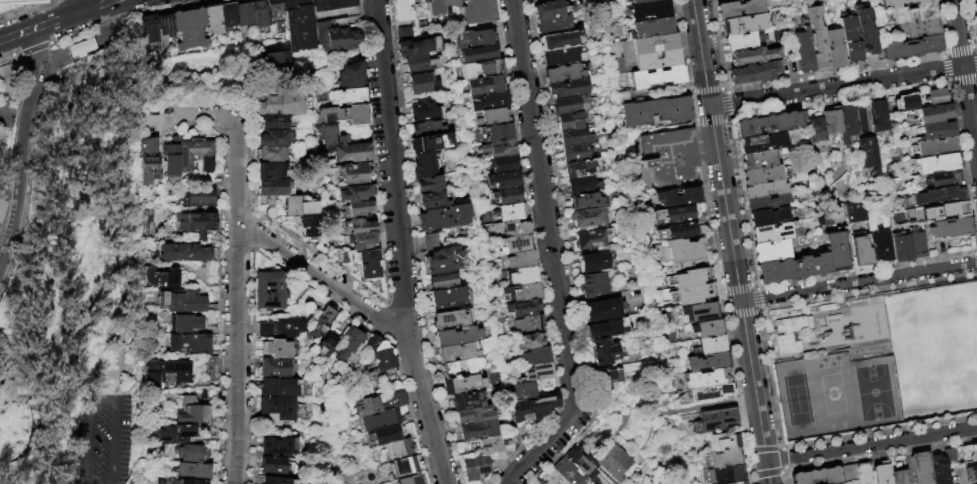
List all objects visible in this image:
building: (16, 1)
building: (424, 1)
building: (541, 1)
building: (638, 1)
parking lot: (723, 1)
building: (452, 3)
building: (902, 3)
road: (77, 6)
road: (22, 7)
building: (436, 7)
building: (738, 8)
building: (550, 9)
building: (402, 10)
building: (649, 10)
building: (478, 12)
building: (276, 13)
building: (914, 14)
road: (128, 15)
building: (246, 15)
building: (262, 15)
building: (230, 16)
building: (975, 17)
road: (56, 19)
building: (308, 19)
building: (214, 20)
road: (970, 23)
building: (743, 24)
building: (553, 25)
road: (939, 25)
building: (167, 27)
building: (652, 28)
building: (919, 28)
building: (151, 29)
building: (191, 29)
road: (957, 32)
building: (864, 33)
building: (404, 34)
building: (338, 37)
building: (849, 38)
building: (476, 39)
building: (817, 39)
building: (558, 40)
building: (745, 41)
building: (976, 42)
building: (655, 44)
road: (974, 46)
building: (81, 47)
road: (976, 47)
building: (418, 48)
building: (834, 48)
building: (911, 48)
road: (34, 49)
road: (959, 49)
building: (802, 51)
road: (943, 53)
building: (480, 54)
road: (976, 54)
building: (562, 56)
building: (751, 56)
road: (10, 58)
building: (615, 59)
building: (658, 60)
building: (276, 64)
building: (420, 64)
road: (969, 64)
road: (945, 68)
building: (484, 69)
building: (564, 73)
building: (751, 74)
building: (353, 75)
building: (658, 78)
road: (976, 78)
road: (787, 79)
road: (963, 81)
road: (948, 83)
building: (423, 84)
building: (487, 86)
road: (835, 86)
building: (568, 89)
road: (705, 90)
road: (725, 92)
building: (349, 96)
building: (938, 96)
building: (621, 98)
road: (838, 98)
building: (490, 101)
road: (727, 103)
building: (904, 103)
building: (282, 104)
building: (569, 105)
building: (14, 111)
building: (426, 111)
building: (655, 111)
road: (969, 111)
building: (934, 113)
building: (354, 115)
building: (878, 115)
building: (803, 117)
building: (13, 118)
building: (495, 118)
road: (188, 119)
building: (571, 120)
road: (711, 120)
building: (327, 121)
building: (279, 122)
building: (848, 122)
building: (832, 123)
building: (766, 124)
building: (428, 129)
building: (817, 129)
building: (936, 130)
building: (499, 133)
building: (576, 136)
building: (276, 138)
building: (337, 140)
building: (761, 142)
building: (431, 143)
building: (148, 146)
building: (935, 147)
road: (22, 148)
building: (500, 148)
building: (351, 151)
building: (577, 153)
building: (195, 154)
building: (271, 154)
building: (869, 154)
building: (665, 157)
building: (149, 159)
building: (758, 159)
building: (171, 160)
building: (937, 162)
building: (426, 164)
building: (505, 164)
building: (582, 168)
building: (271, 171)
building: (150, 174)
building: (357, 174)
building: (762, 174)
building: (944, 179)
building: (507, 181)
building: (430, 185)
building: (583, 185)
building: (274, 187)
building: (3, 189)
building: (765, 189)
building: (358, 193)
building: (937, 196)
building: (199, 197)
building: (509, 197)
building: (679, 197)
building: (436, 200)
building: (265, 201)
building: (587, 201)
road: (741, 201)
building: (769, 202)
building: (299, 207)
building: (358, 209)
building: (3, 210)
building: (939, 211)
building: (511, 213)
building: (674, 214)
building: (589, 217)
building: (768, 217)
building: (443, 218)
building: (198, 222)
building: (310, 222)
building: (361, 225)
building: (951, 227)
building: (518, 229)
building: (676, 231)
building: (772, 232)
building: (311, 235)
road: (711, 237)
building: (592, 239)
building: (365, 240)
building: (430, 242)
road: (730, 242)
building: (916, 243)
road: (399, 244)
road: (413, 244)
building: (519, 244)
building: (880, 245)
building: (900, 247)
road: (120, 250)
building: (770, 250)
building: (862, 250)
building: (678, 251)
building: (835, 251)
building: (187, 253)
building: (445, 256)
road: (551, 256)
building: (343, 257)
road: (950, 257)
building: (523, 261)
road: (975, 261)
building: (594, 262)
building: (370, 263)
building: (791, 268)
building: (442, 269)
building: (525, 276)
building: (160, 278)
road: (322, 278)
building: (443, 281)
road: (858, 282)
road: (753, 284)
building: (594, 285)
building: (684, 287)
road: (737, 287)
park: (76, 289)
building: (268, 291)
road: (722, 291)
building: (528, 292)
road: (236, 298)
road: (756, 298)
building: (449, 299)
building: (182, 301)
road: (759, 308)
building: (528, 309)
building: (605, 310)
building: (699, 311)
road: (742, 312)
road: (726, 315)
building: (453, 319)
building: (321, 321)
road: (70, 323)
building: (186, 323)
building: (532, 324)
building: (281, 328)
building: (708, 328)
building: (608, 329)
building: (791, 335)
building: (456, 336)
building: (533, 341)
building: (374, 342)
building: (191, 343)
building: (327, 344)
building: (350, 345)
building: (709, 345)
building: (278, 348)
building: (458, 352)
building: (604, 352)
building: (539, 357)
building: (386, 360)
park: (875, 360)
building: (708, 361)
building: (211, 368)
building: (275, 368)
building: (462, 368)
road: (765, 368)
building: (167, 372)
building: (540, 373)
building: (705, 378)
building: (608, 379)
building: (462, 384)
building: (271, 387)
building: (530, 389)
building: (709, 392)
park: (872, 392)
park: (795, 399)
road: (105, 400)
building: (395, 400)
building: (467, 400)
road: (704, 406)
building: (367, 407)
building: (534, 408)
building: (279, 409)
building: (192, 411)
building: (476, 415)
building: (383, 420)
building: (716, 420)
building: (211, 430)
building: (477, 430)
building: (405, 431)
building: (173, 434)
building: (385, 435)
parking lot: (105, 438)
building: (515, 438)
road: (524, 442)
building: (720, 442)
road: (871, 443)
building: (497, 444)
building: (278, 446)
building: (403, 447)
road: (777, 447)
road: (762, 448)
road: (781, 448)
building: (976, 448)
road: (747, 449)
building: (970, 453)
building: (192, 454)
road: (873, 455)
building: (959, 455)
building: (949, 456)
road: (783, 458)
building: (723, 459)
building: (615, 461)
building: (582, 462)
building: (274, 466)
building: (407, 466)
building: (477, 468)
building: (921, 468)
road: (784, 469)
building: (938, 469)
building: (193, 470)
building: (569, 472)
road: (781, 472)
road: (767, 473)
building: (848, 473)
building: (865, 473)
building: (881, 473)
building: (722, 474)
building: (971, 474)
building: (369, 475)
building: (818, 476)
road: (751, 477)
building: (899, 477)
building: (553, 478)
building: (413, 479)
building: (181, 481)
building: (278, 481)
building: (733, 481)
building: (541, 482)
building: (840, 483)

